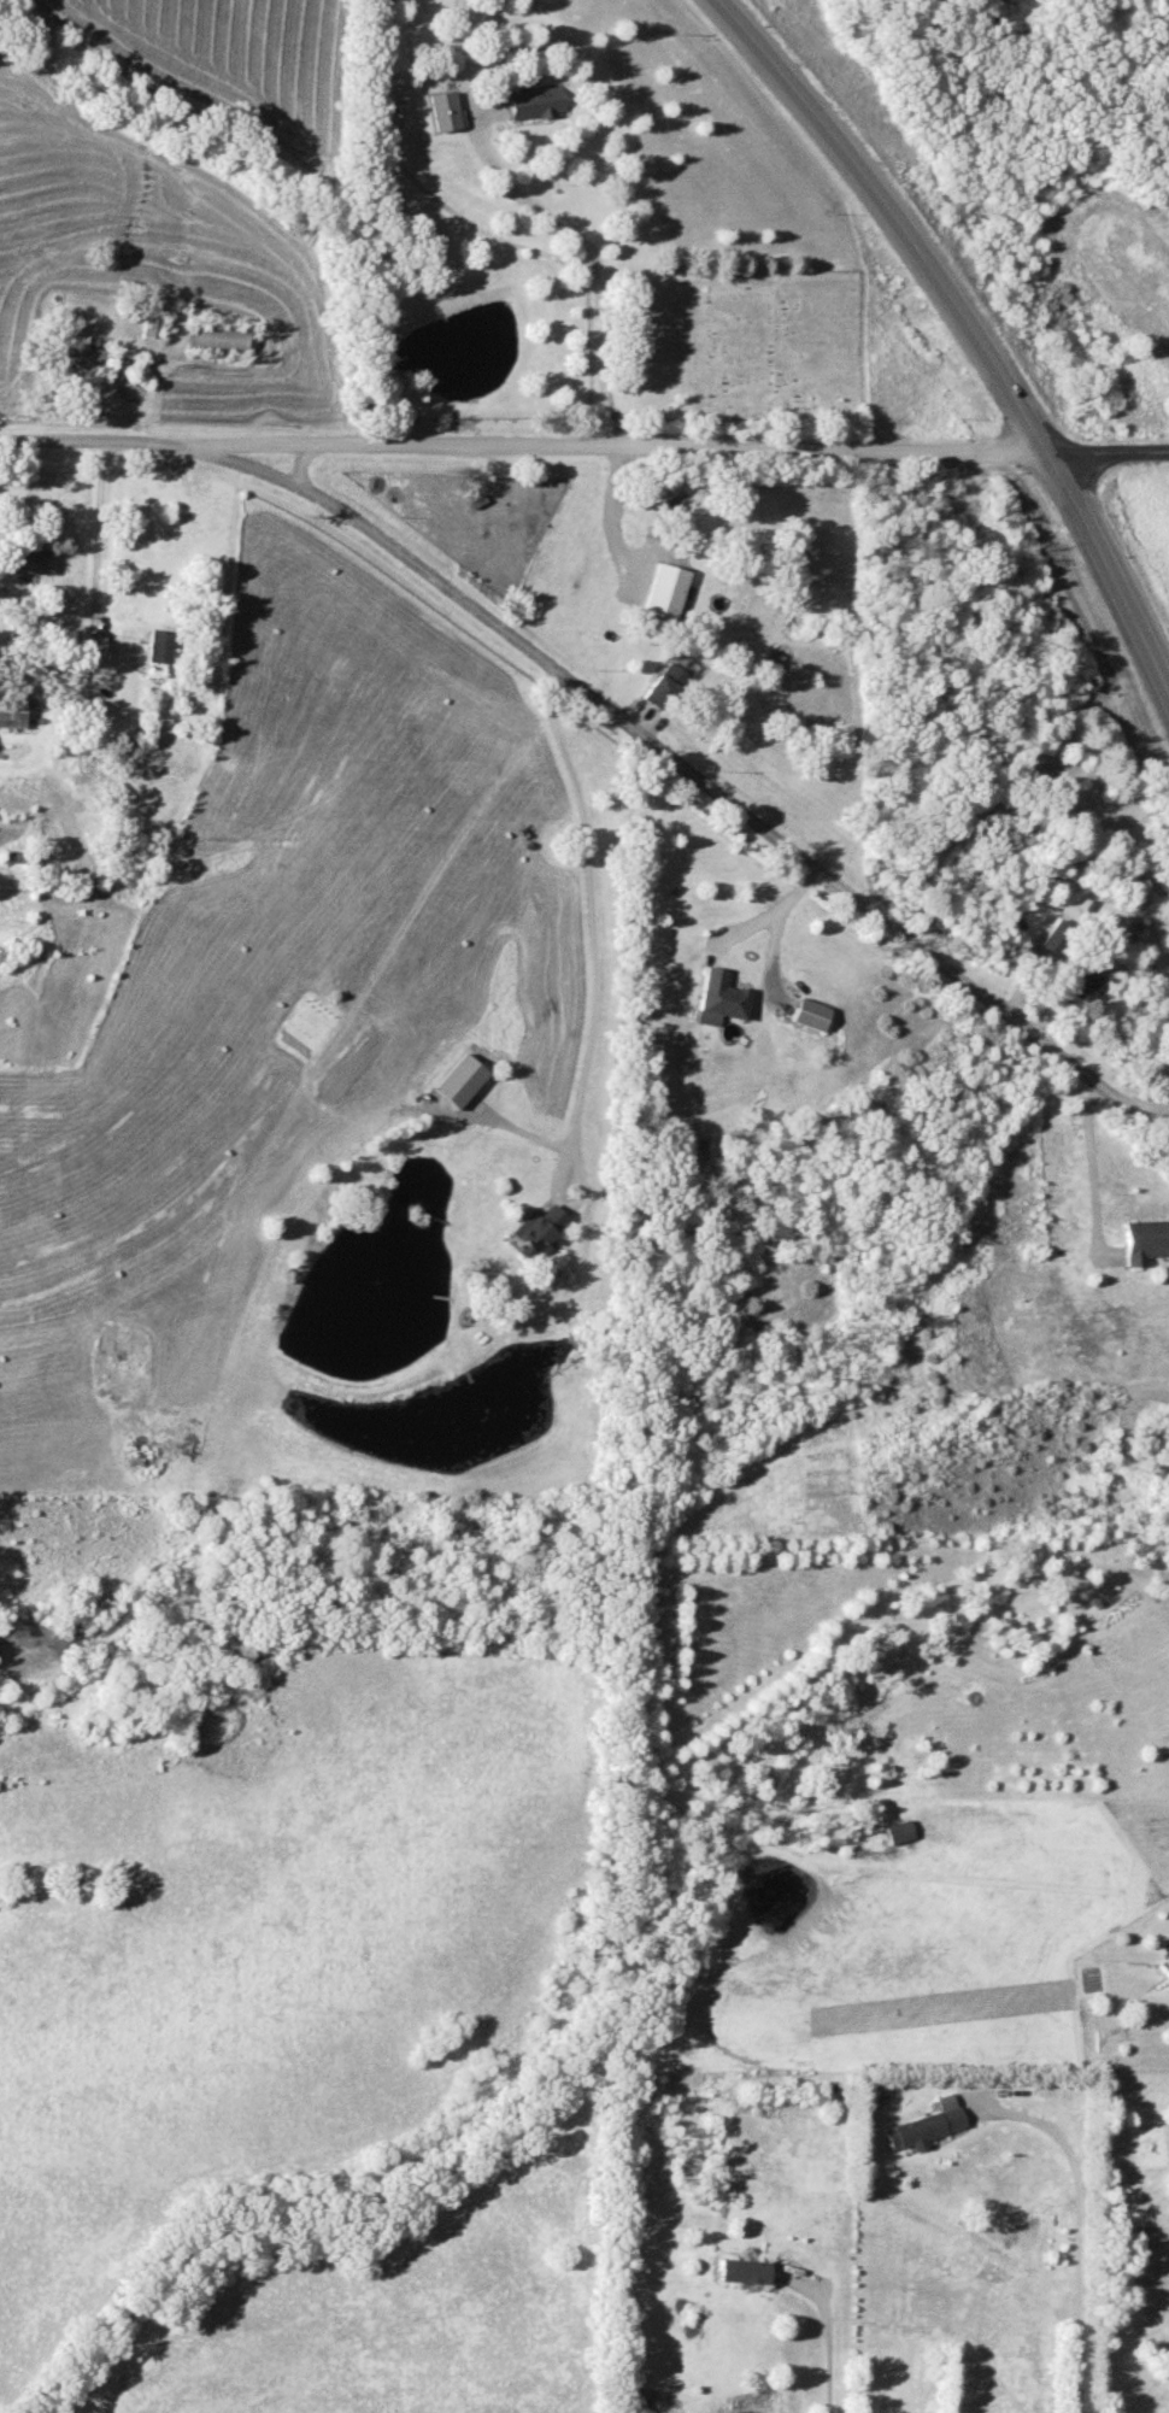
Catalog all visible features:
building: (536, 107)
road: (545, 215)
building: (152, 327)
building: (217, 340)
road: (964, 341)
park: (738, 344)
building: (86, 358)
road: (679, 445)
road: (157, 446)
road: (1105, 451)
road: (95, 544)
building: (31, 559)
building: (664, 589)
building: (159, 645)
building: (662, 685)
building: (11, 710)
road: (713, 792)
building: (17, 856)
building: (1065, 862)
road: (768, 911)
road: (589, 920)
building: (1055, 938)
building: (1077, 984)
building: (721, 997)
building: (809, 1014)
road: (1089, 1167)
building: (537, 1227)
building: (1144, 1240)
building: (898, 1831)
building: (1164, 1966)
building: (926, 2124)
road: (1075, 2229)
building: (741, 2270)
road: (826, 2333)

